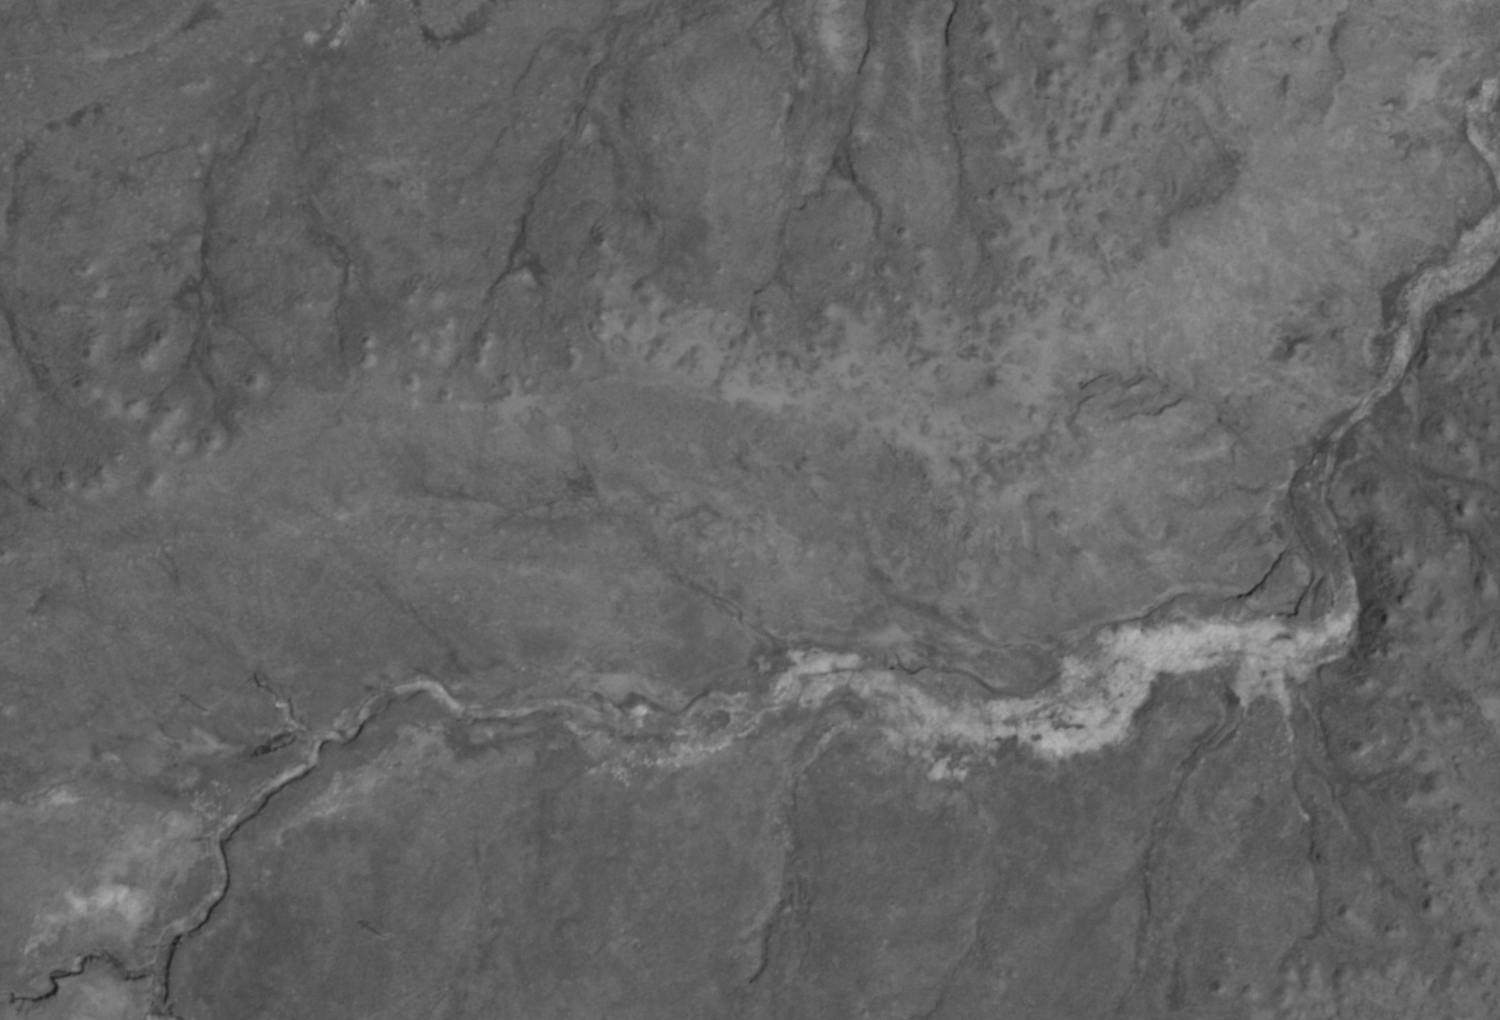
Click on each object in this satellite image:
power tower: (55, 515)
power tower: (211, 712)
power tower: (390, 938)

